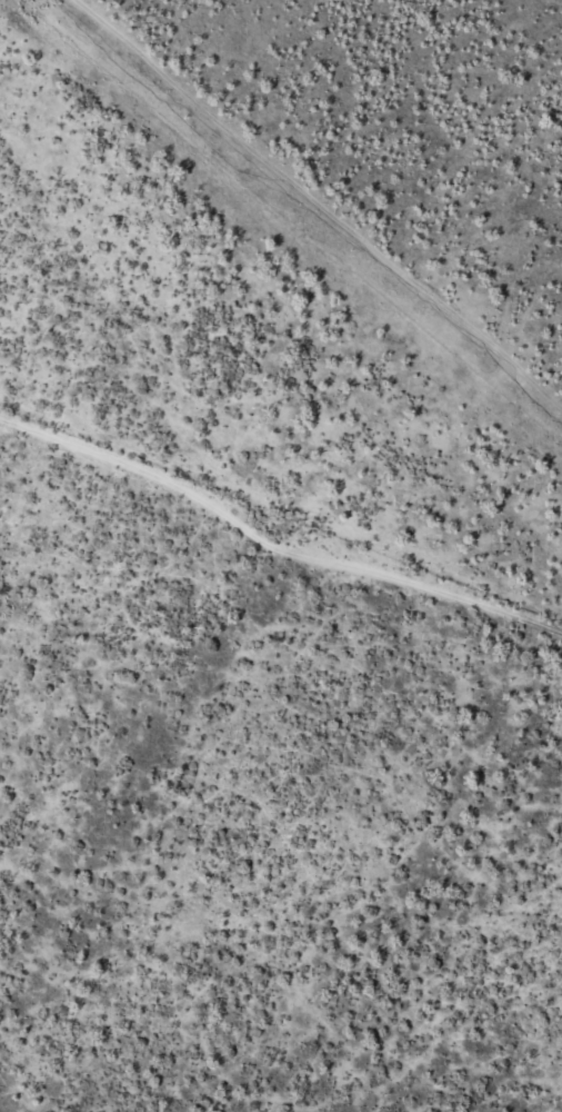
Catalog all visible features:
road: (281, 538)

